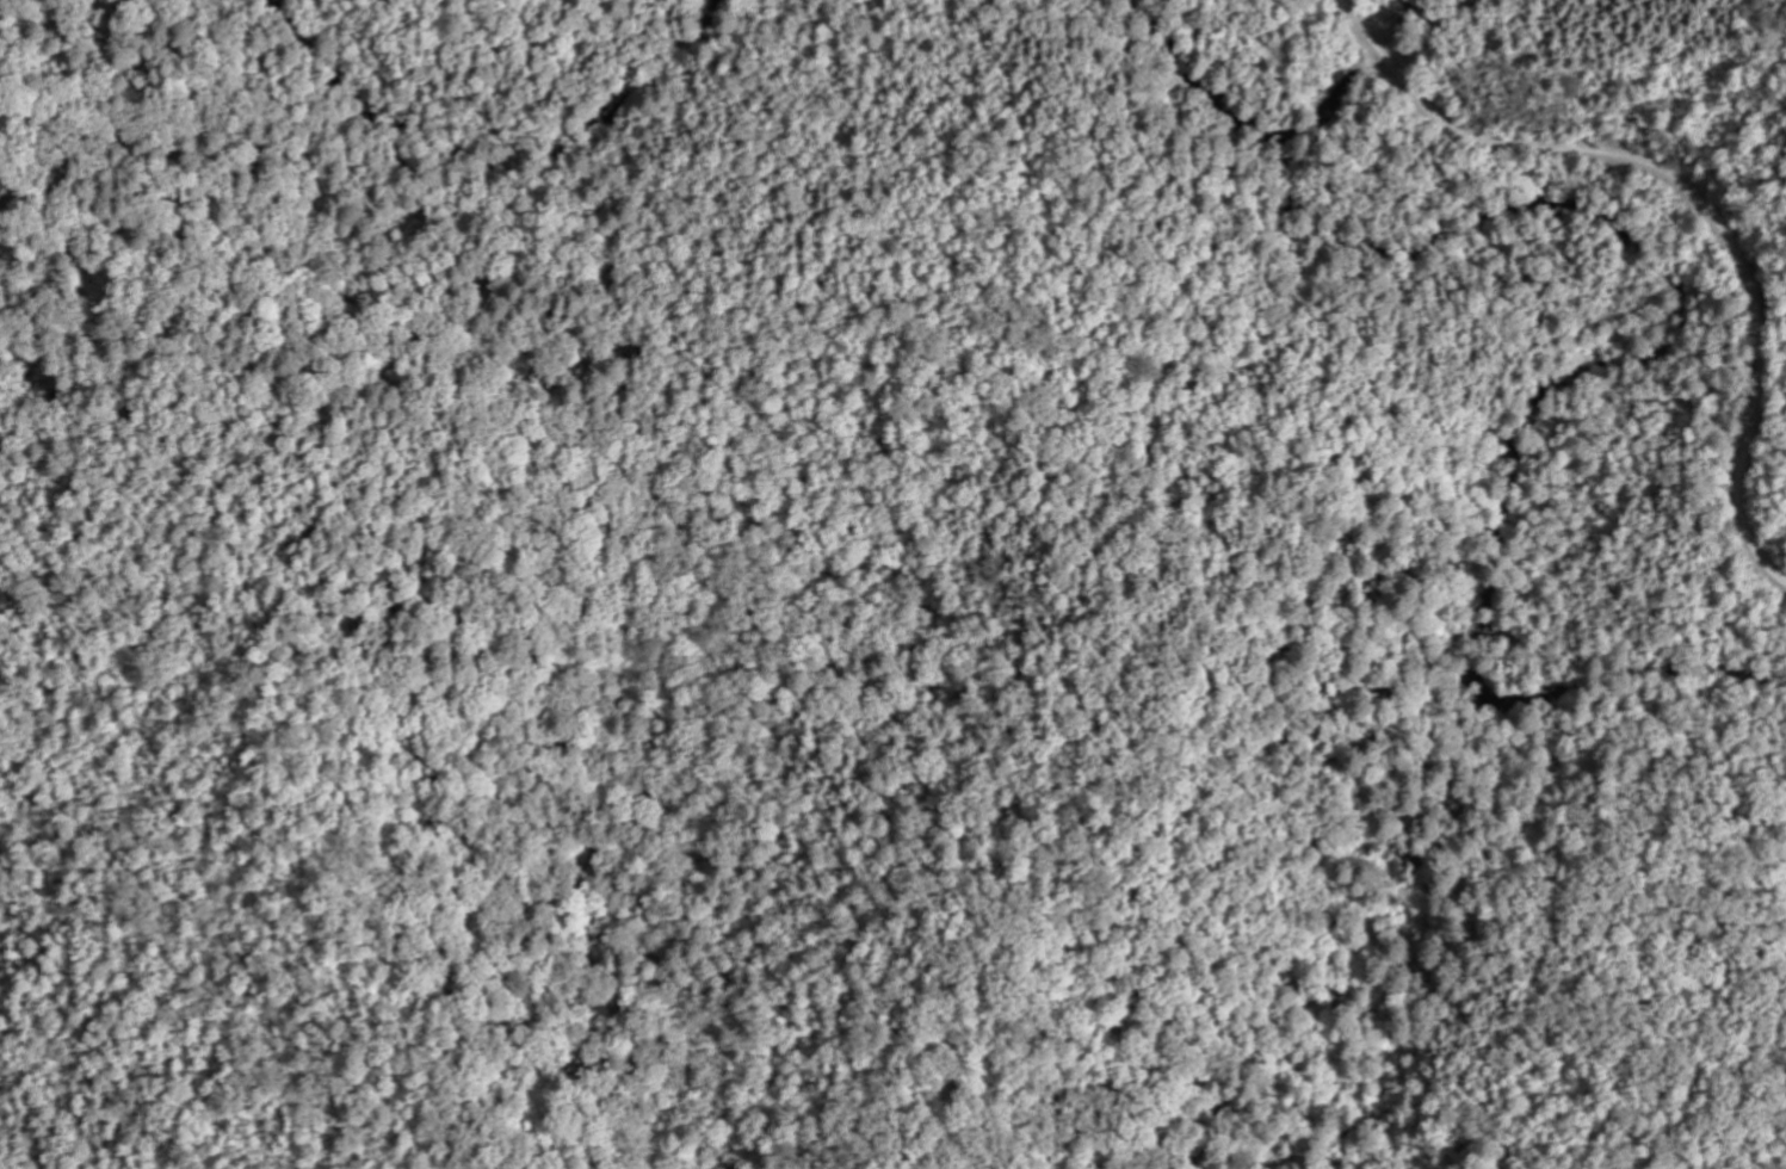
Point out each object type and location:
road: (1411, 172)
road: (489, 191)
road: (1689, 191)
road: (1600, 334)

